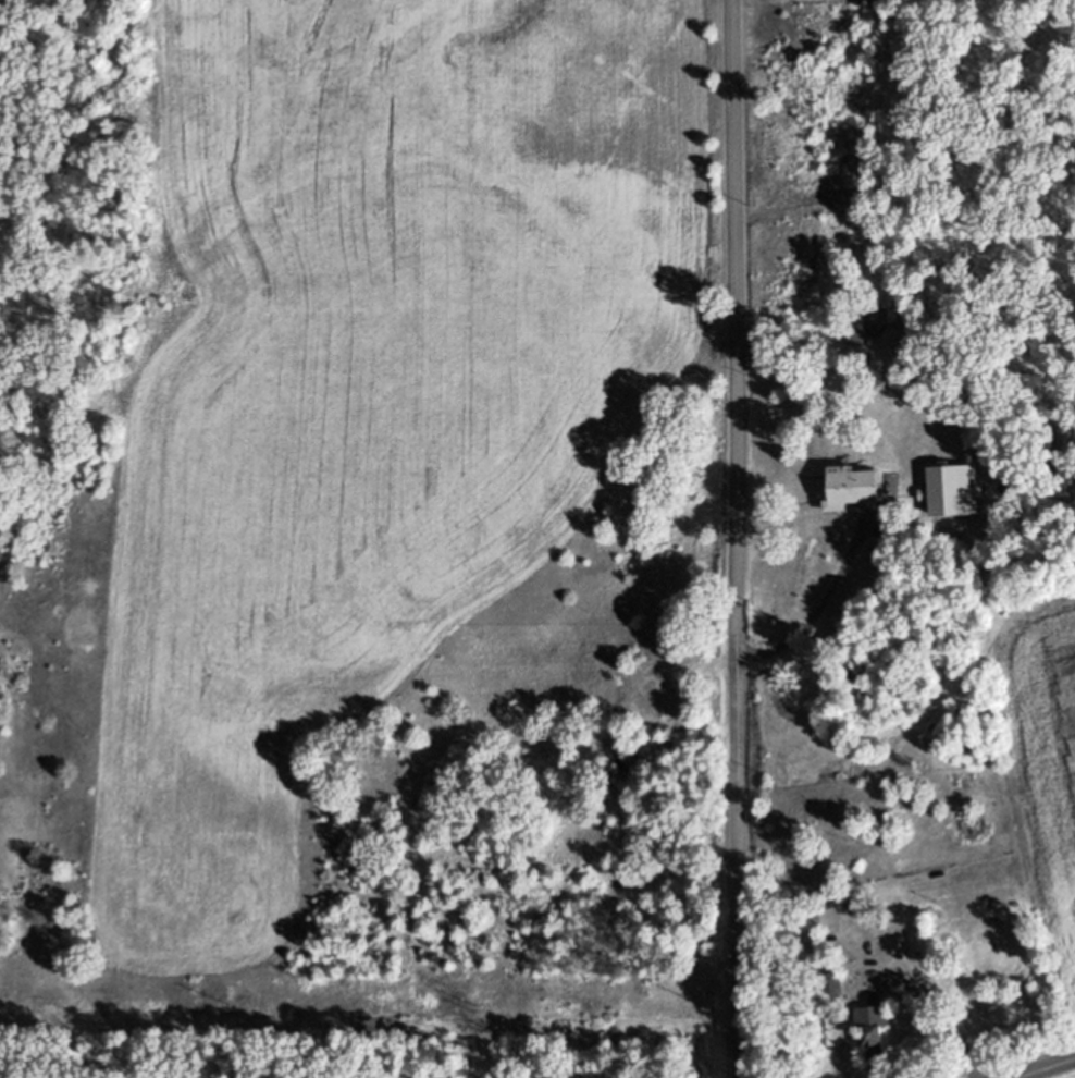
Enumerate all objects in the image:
building: (900, 323)
building: (858, 344)
building: (864, 492)
building: (960, 498)
road: (738, 538)
road: (821, 601)
building: (879, 1040)
road: (1051, 1070)

